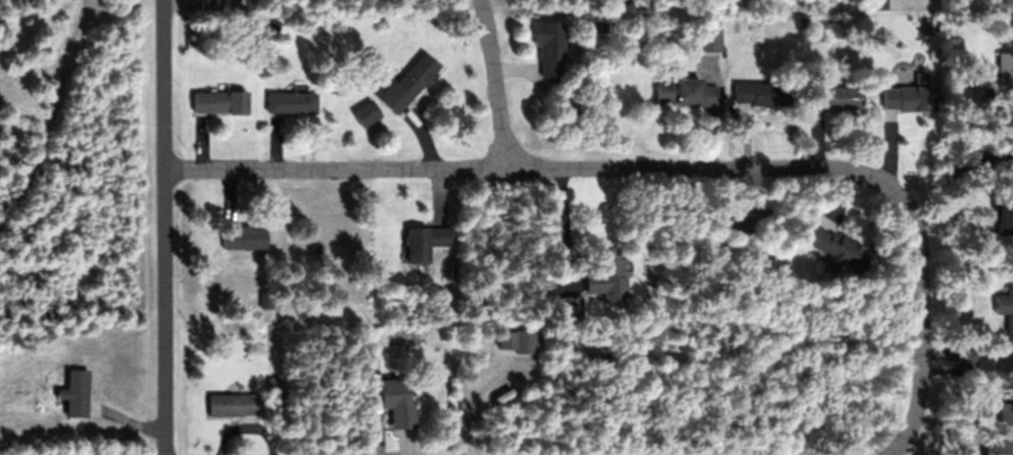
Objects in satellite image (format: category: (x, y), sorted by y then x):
building: (191, 0)
building: (880, 4)
building: (860, 5)
building: (192, 23)
building: (271, 24)
building: (596, 26)
building: (707, 36)
building: (551, 49)
building: (920, 77)
building: (999, 81)
building: (407, 84)
road: (495, 84)
building: (685, 92)
building: (762, 93)
building: (834, 97)
building: (909, 98)
building: (220, 102)
building: (291, 102)
building: (807, 110)
building: (366, 113)
building: (981, 160)
road: (662, 169)
building: (1004, 208)
building: (741, 226)
road: (165, 227)
building: (244, 238)
building: (423, 242)
building: (836, 247)
building: (608, 276)
building: (266, 300)
building: (443, 301)
building: (1005, 306)
building: (572, 308)
building: (556, 312)
building: (489, 336)
building: (524, 341)
building: (966, 359)
building: (74, 393)
building: (400, 402)
building: (234, 405)
building: (1002, 433)
road: (902, 446)

